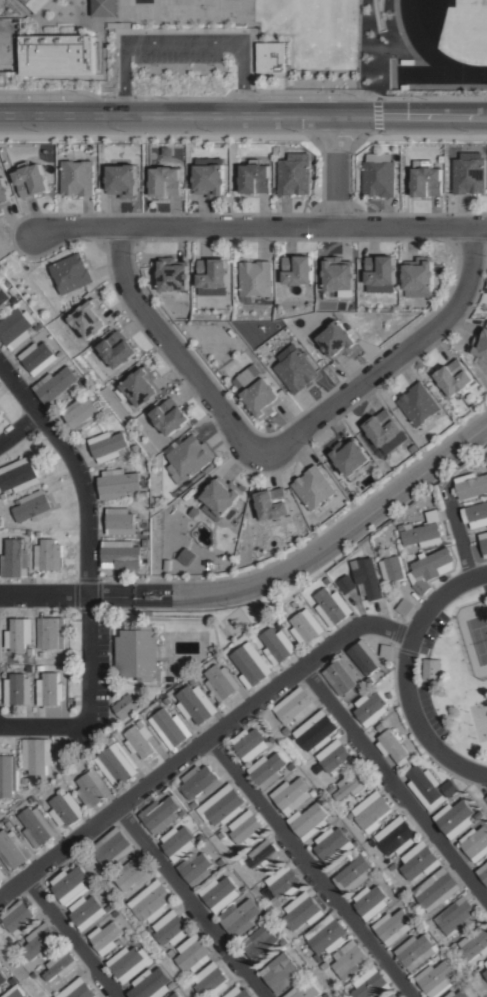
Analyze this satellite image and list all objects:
park: (204, 3)
building: (34, 4)
building: (104, 7)
park: (235, 7)
building: (189, 11)
track: (452, 32)
road: (182, 41)
building: (57, 55)
building: (271, 57)
track: (437, 74)
road: (243, 119)
building: (294, 173)
road: (335, 173)
building: (379, 174)
building: (469, 175)
building: (210, 176)
building: (77, 177)
building: (255, 178)
building: (31, 179)
building: (427, 179)
building: (123, 180)
building: (166, 181)
building: (4, 194)
building: (0, 209)
road: (260, 227)
building: (297, 270)
building: (212, 272)
building: (71, 273)
building: (380, 273)
building: (173, 274)
building: (339, 276)
building: (419, 276)
building: (255, 278)
building: (3, 299)
building: (17, 300)
building: (90, 318)
building: (17, 327)
building: (40, 327)
building: (338, 340)
building: (480, 344)
road: (175, 348)
building: (118, 349)
building: (61, 354)
building: (39, 357)
road: (392, 360)
building: (295, 368)
building: (246, 376)
building: (454, 377)
building: (57, 386)
building: (141, 386)
building: (262, 398)
building: (418, 404)
building: (108, 411)
building: (82, 415)
building: (170, 416)
building: (2, 417)
building: (383, 427)
road: (20, 430)
building: (109, 446)
building: (189, 456)
building: (350, 458)
building: (18, 476)
building: (121, 485)
building: (472, 486)
building: (314, 487)
building: (3, 497)
building: (221, 497)
building: (273, 503)
building: (32, 507)
building: (476, 516)
building: (122, 522)
building: (146, 525)
road: (89, 531)
building: (424, 532)
building: (29, 533)
building: (147, 533)
road: (457, 533)
building: (37, 534)
building: (147, 544)
building: (484, 544)
building: (48, 556)
building: (124, 556)
building: (186, 556)
building: (15, 560)
building: (434, 564)
building: (392, 568)
road: (268, 578)
building: (367, 579)
building: (327, 582)
building: (346, 584)
building: (421, 586)
building: (294, 605)
building: (404, 607)
building: (331, 608)
building: (305, 627)
building: (50, 633)
park: (475, 635)
building: (18, 636)
building: (277, 646)
building: (387, 652)
building: (42, 655)
building: (136, 655)
building: (30, 658)
building: (365, 658)
building: (220, 659)
building: (251, 664)
building: (30, 669)
building: (41, 669)
building: (432, 671)
road: (407, 676)
building: (342, 677)
building: (170, 681)
building: (221, 683)
building: (18, 690)
building: (50, 691)
building: (196, 703)
building: (168, 704)
building: (293, 706)
building: (126, 707)
building: (371, 709)
park: (479, 718)
road: (44, 727)
building: (381, 728)
building: (171, 730)
building: (314, 731)
building: (286, 732)
road: (201, 743)
building: (145, 745)
building: (250, 745)
building: (393, 749)
building: (36, 756)
building: (414, 756)
building: (335, 759)
building: (116, 765)
building: (316, 769)
building: (396, 769)
building: (268, 770)
building: (284, 772)
building: (282, 773)
building: (7, 777)
building: (59, 780)
building: (25, 782)
building: (199, 783)
building: (351, 785)
road: (394, 786)
building: (92, 789)
building: (332, 789)
building: (426, 789)
building: (451, 790)
building: (314, 793)
building: (291, 796)
building: (486, 799)
building: (34, 805)
building: (193, 805)
building: (221, 807)
building: (66, 810)
building: (372, 812)
building: (182, 814)
building: (159, 816)
building: (350, 816)
building: (480, 816)
building: (455, 820)
building: (309, 822)
building: (8, 826)
building: (38, 826)
building: (246, 829)
building: (218, 835)
building: (395, 838)
building: (201, 839)
building: (177, 844)
building: (371, 844)
building: (475, 845)
building: (332, 847)
building: (112, 849)
building: (13, 851)
building: (261, 856)
building: (240, 862)
building: (419, 862)
building: (221, 863)
road: (309, 867)
building: (392, 867)
building: (196, 870)
building: (374, 873)
building: (483, 874)
building: (2, 875)
building: (133, 875)
building: (355, 876)
building: (283, 883)
building: (70, 885)
building: (261, 887)
building: (244, 891)
building: (436, 891)
building: (219, 896)
building: (150, 903)
road: (190, 903)
building: (370, 903)
building: (86, 913)
building: (116, 914)
building: (301, 915)
building: (20, 916)
building: (266, 917)
building: (457, 918)
building: (239, 919)
building: (417, 923)
building: (393, 928)
building: (149, 930)
building: (169, 930)
building: (325, 936)
road: (73, 937)
building: (105, 938)
building: (41, 941)
building: (284, 943)
building: (17, 944)
building: (262, 946)
building: (475, 946)
building: (454, 947)
building: (416, 953)
building: (170, 954)
building: (193, 955)
building: (1, 960)
building: (349, 962)
building: (128, 963)
building: (60, 964)
building: (486, 965)
building: (323, 968)
building: (304, 969)
building: (474, 973)
building: (32, 974)
building: (280, 975)
building: (485, 976)
building: (2, 978)
building: (14, 978)
building: (436, 980)
building: (210, 982)
building: (371, 985)
building: (151, 986)
building: (172, 987)
building: (77, 988)
building: (0, 991)
building: (17, 991)
building: (239, 992)
building: (305, 992)
building: (463, 992)
building: (343, 993)
building: (393, 995)
building: (176, 996)
building: (326, 996)
building: (397, 996)

